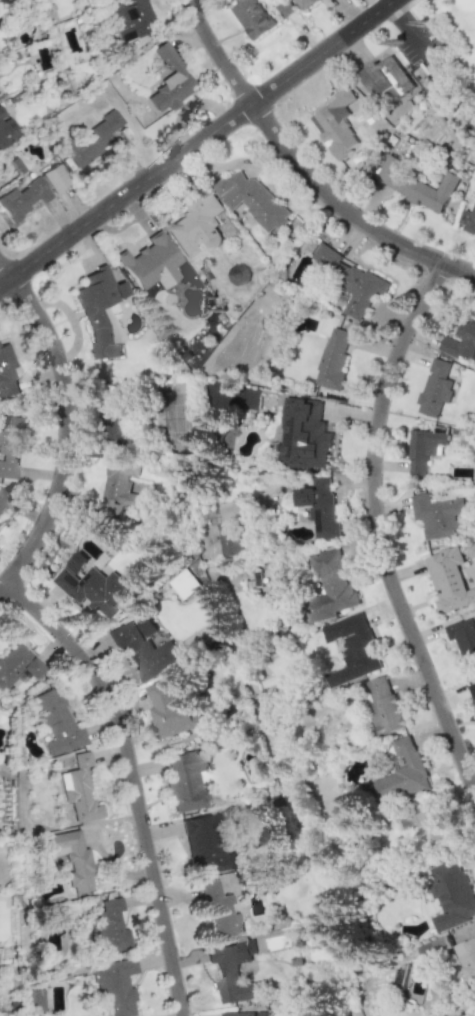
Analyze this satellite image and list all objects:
building: (305, 3)
building: (251, 17)
building: (130, 18)
park: (437, 56)
building: (386, 79)
building: (169, 81)
building: (336, 124)
building: (6, 131)
building: (91, 139)
road: (193, 141)
road: (302, 169)
building: (55, 178)
building: (416, 185)
building: (252, 200)
building: (22, 201)
building: (468, 221)
building: (196, 226)
building: (148, 260)
building: (237, 275)
building: (350, 280)
building: (100, 311)
building: (460, 341)
building: (333, 360)
building: (7, 376)
building: (435, 388)
road: (66, 422)
building: (116, 423)
building: (303, 435)
building: (10, 446)
building: (423, 449)
building: (121, 485)
building: (2, 496)
building: (320, 508)
building: (440, 516)
road: (380, 528)
building: (237, 542)
building: (257, 578)
building: (448, 580)
building: (184, 584)
building: (92, 586)
building: (330, 587)
building: (463, 636)
building: (352, 648)
building: (143, 651)
building: (16, 664)
building: (472, 690)
building: (384, 706)
building: (172, 708)
building: (55, 723)
building: (405, 771)
road: (136, 777)
building: (183, 781)
building: (77, 789)
building: (431, 822)
building: (202, 844)
building: (69, 859)
building: (452, 895)
building: (219, 912)
building: (109, 927)
building: (432, 948)
building: (467, 960)
building: (234, 971)
building: (112, 986)
building: (33, 1000)
building: (247, 1013)

